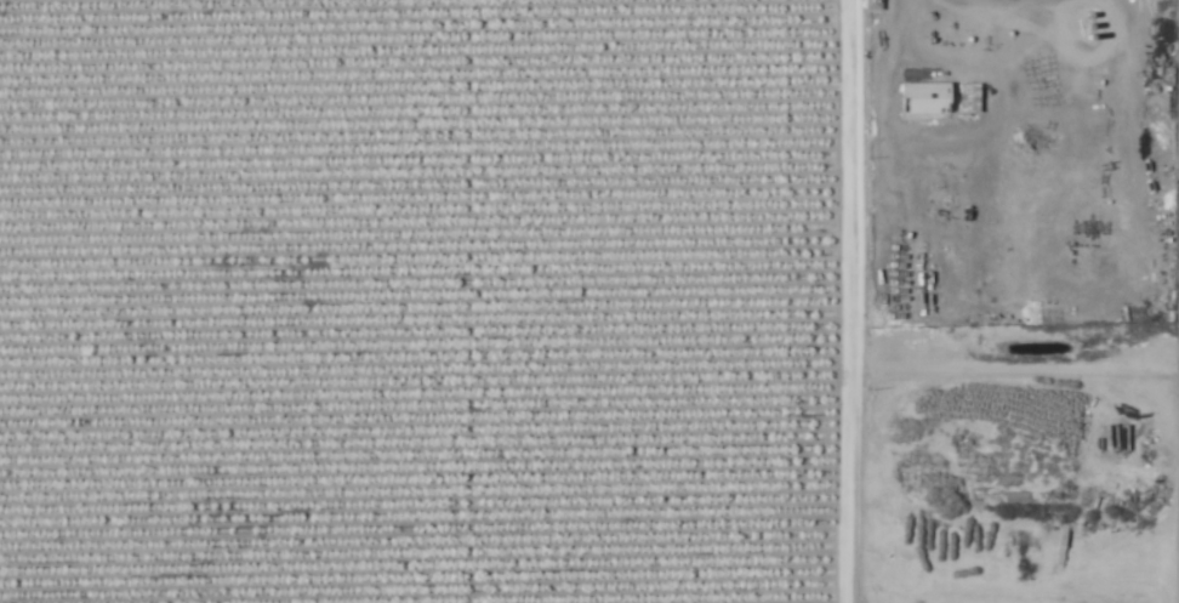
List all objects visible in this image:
building: (870, 4)
building: (923, 98)
building: (966, 99)
road: (859, 301)

